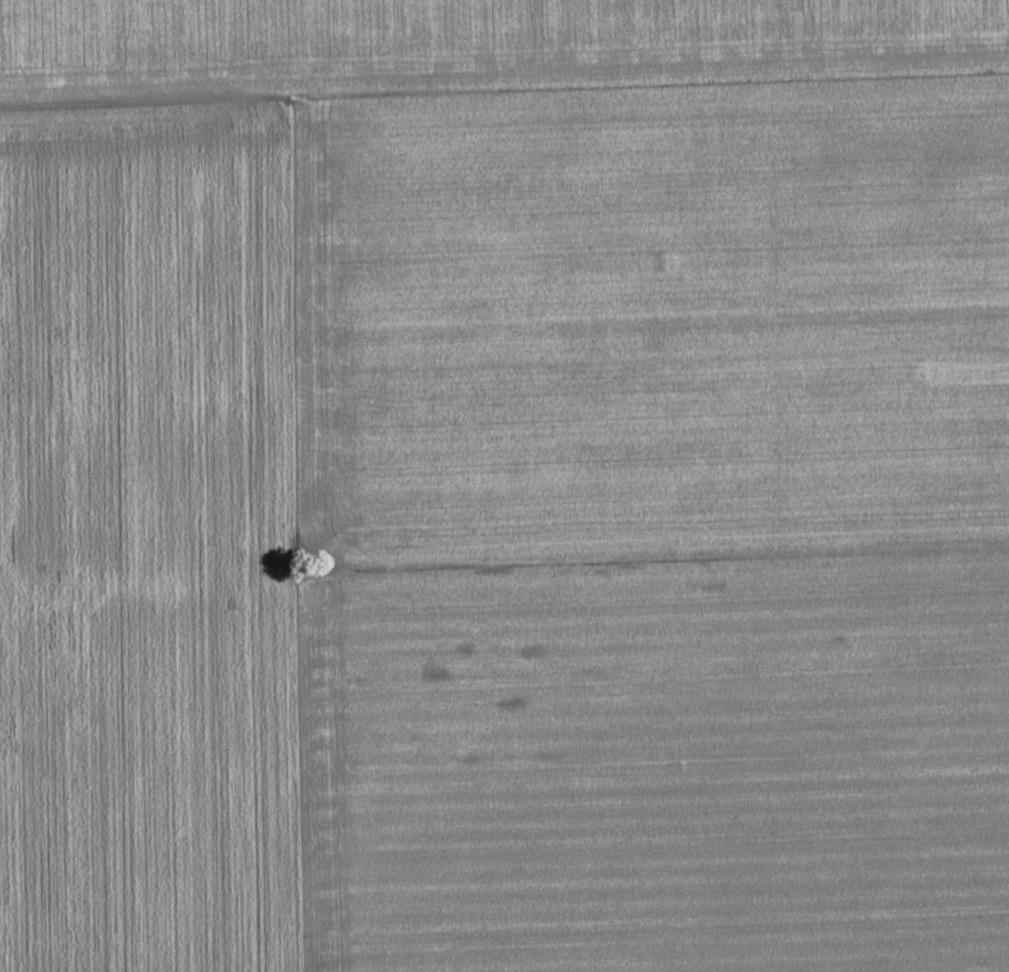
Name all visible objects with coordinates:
crop: (475, 30)
crop: (665, 516)
crop: (157, 525)

